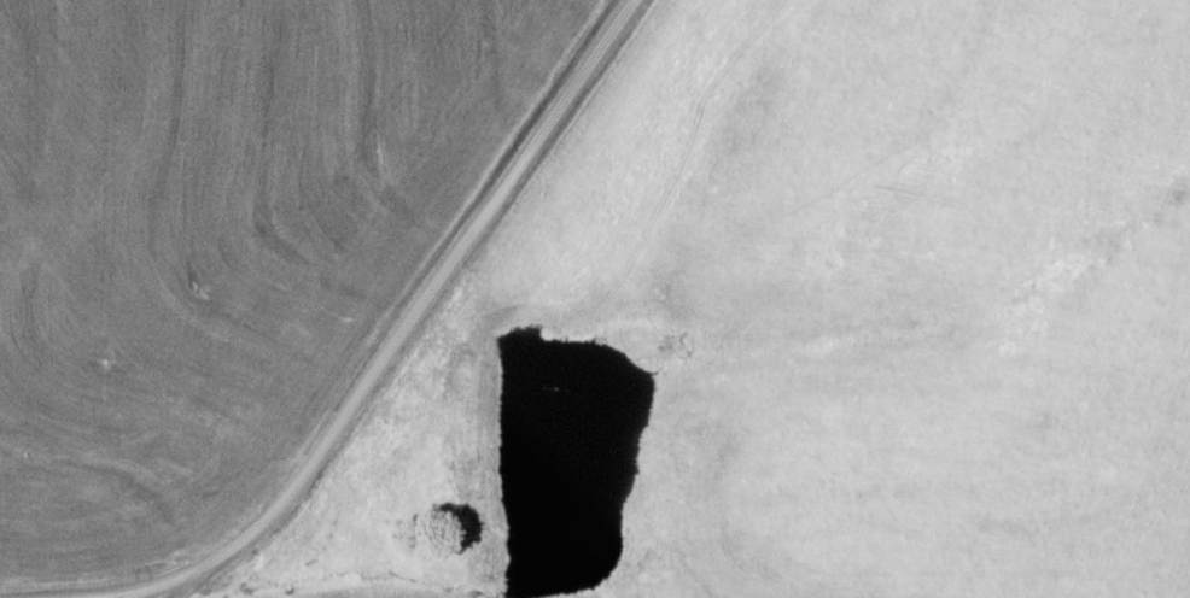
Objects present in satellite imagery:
road: (421, 316)
road: (135, 591)

